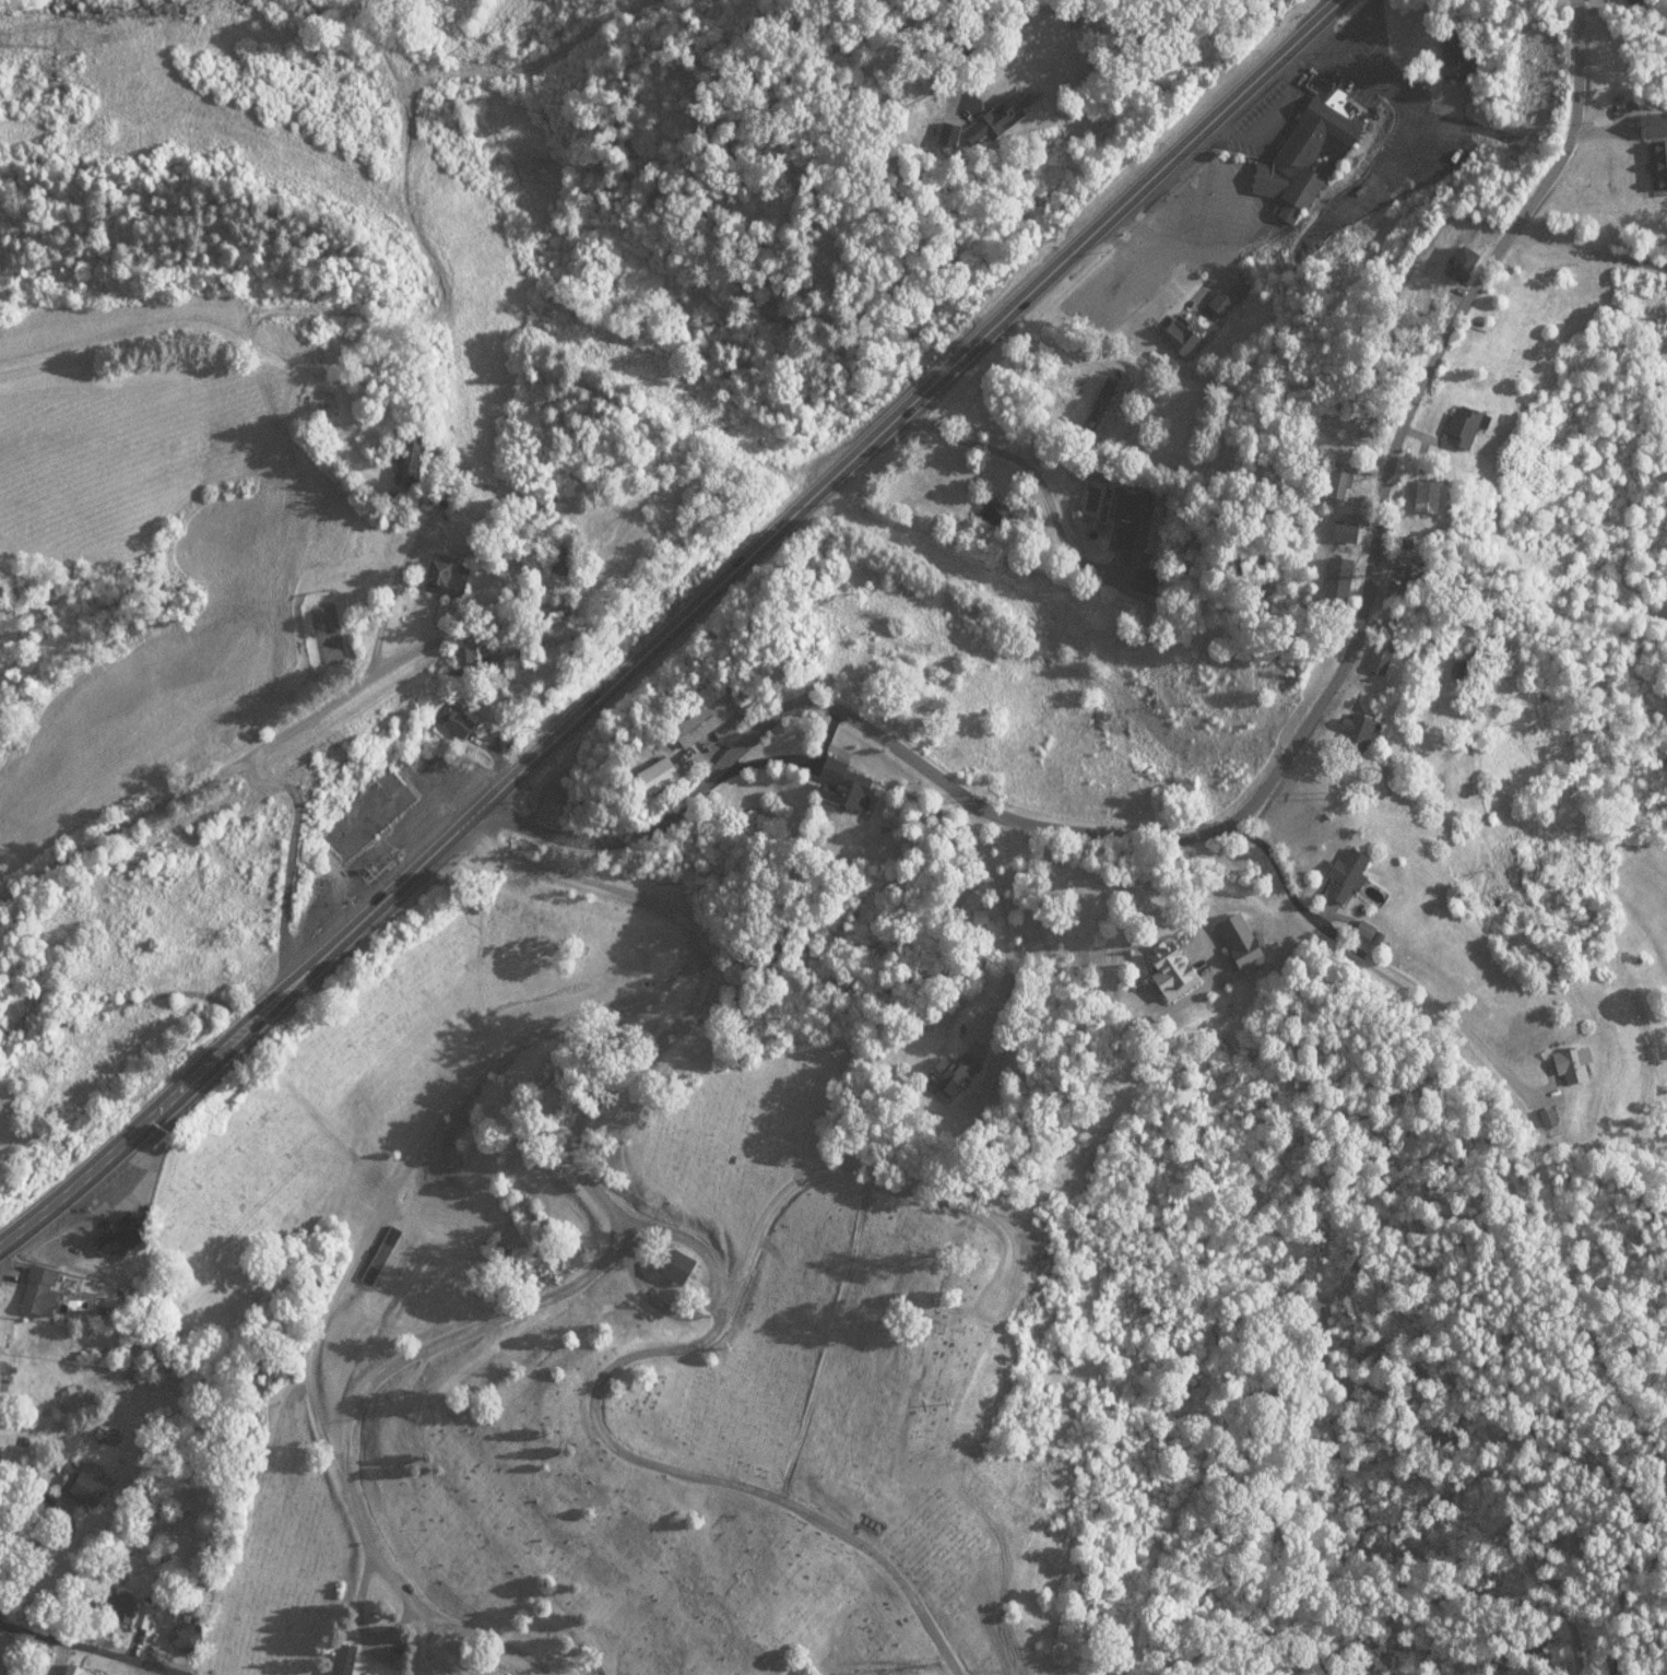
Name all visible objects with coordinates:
power tower: (63, 37)
building: (1455, 52)
building: (996, 119)
building: (1657, 152)
building: (1301, 165)
road: (1592, 245)
building: (1467, 263)
building: (1222, 304)
building: (1178, 334)
building: (1100, 406)
building: (1467, 426)
building: (410, 459)
road: (1036, 475)
building: (1341, 484)
building: (1430, 496)
building: (1125, 517)
building: (449, 575)
building: (1343, 577)
building: (1146, 580)
road: (381, 613)
road: (674, 629)
building: (471, 656)
building: (1381, 659)
building: (865, 683)
road: (359, 686)
building: (711, 718)
building: (457, 722)
building: (1359, 730)
building: (326, 746)
road: (791, 760)
building: (665, 776)
building: (847, 785)
building: (387, 787)
road: (1256, 795)
building: (172, 837)
road: (287, 865)
road: (1086, 871)
building: (1351, 876)
building: (125, 890)
road: (1001, 921)
building: (1244, 944)
road: (1383, 962)
building: (1175, 971)
road: (131, 1028)
road: (655, 1039)
building: (1576, 1065)
building: (953, 1075)
building: (128, 1245)
building: (379, 1261)
building: (683, 1275)
road: (339, 1286)
building: (46, 1299)
road: (654, 1302)
park: (617, 1320)
road: (453, 1334)
building: (8, 1338)
road: (645, 1356)
building: (4, 1382)
building: (0, 1466)
building: (92, 1498)
road: (356, 1600)
building: (115, 1614)
building: (142, 1617)
building: (145, 1625)
road: (390, 1626)
building: (186, 1642)
road: (424, 1642)
road: (87, 1647)
road: (386, 1654)
building: (348, 1662)
building: (73, 1673)

